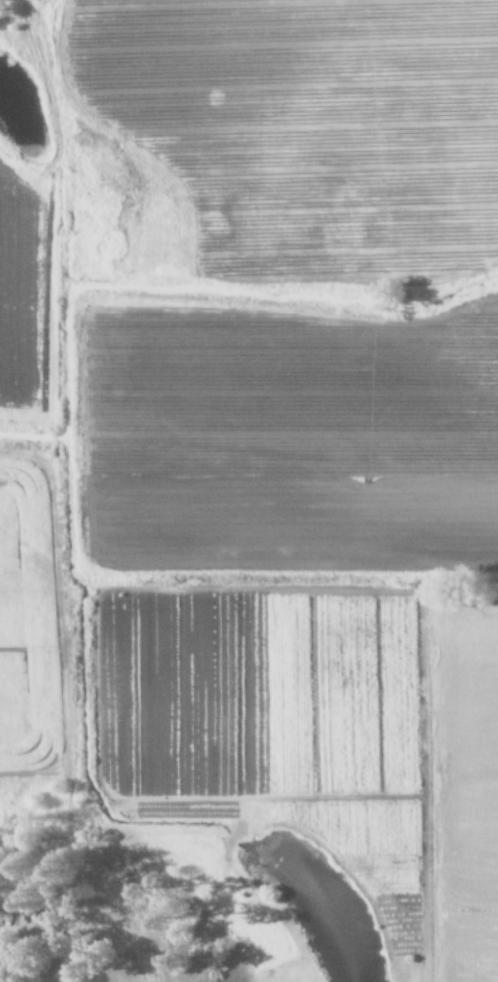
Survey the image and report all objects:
crop: (261, 425)

